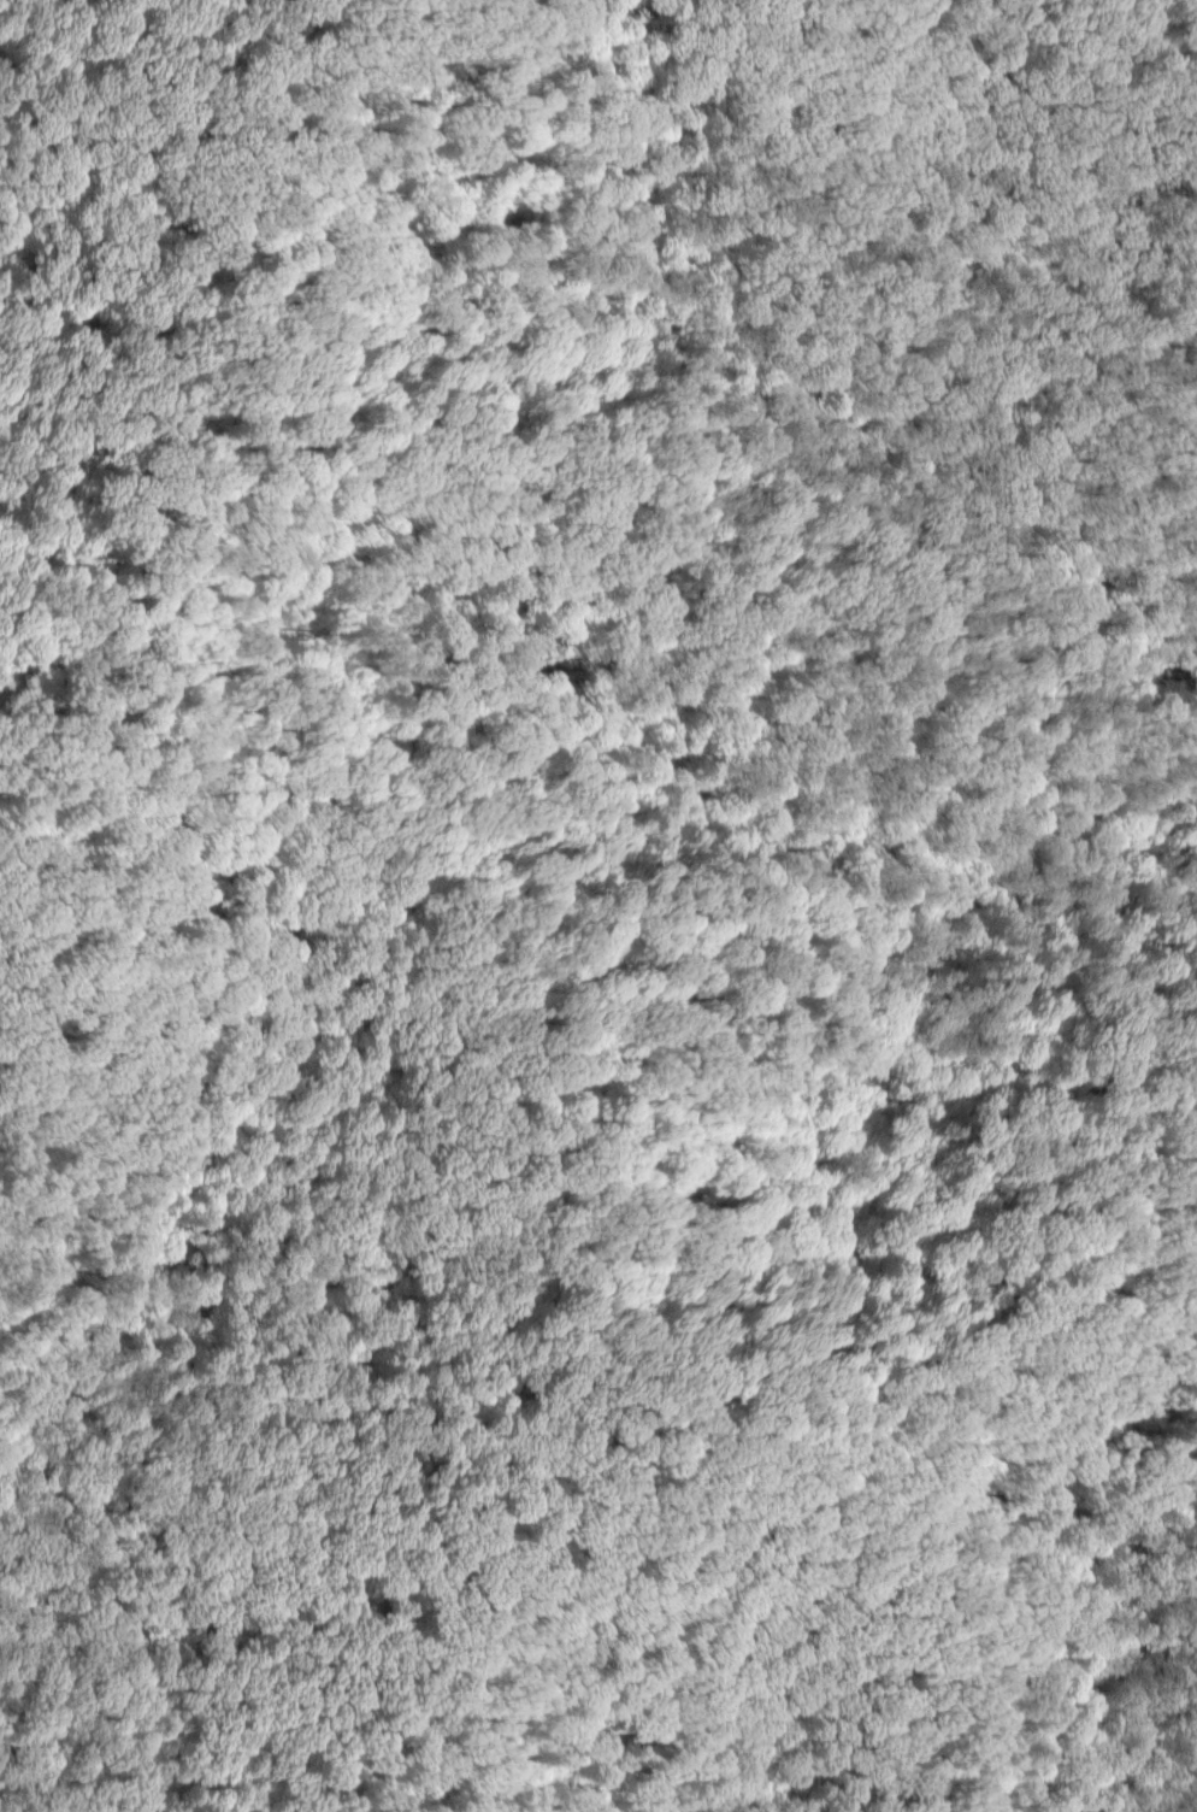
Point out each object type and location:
road: (679, 65)
road: (278, 373)
road: (847, 612)
road: (585, 1246)

